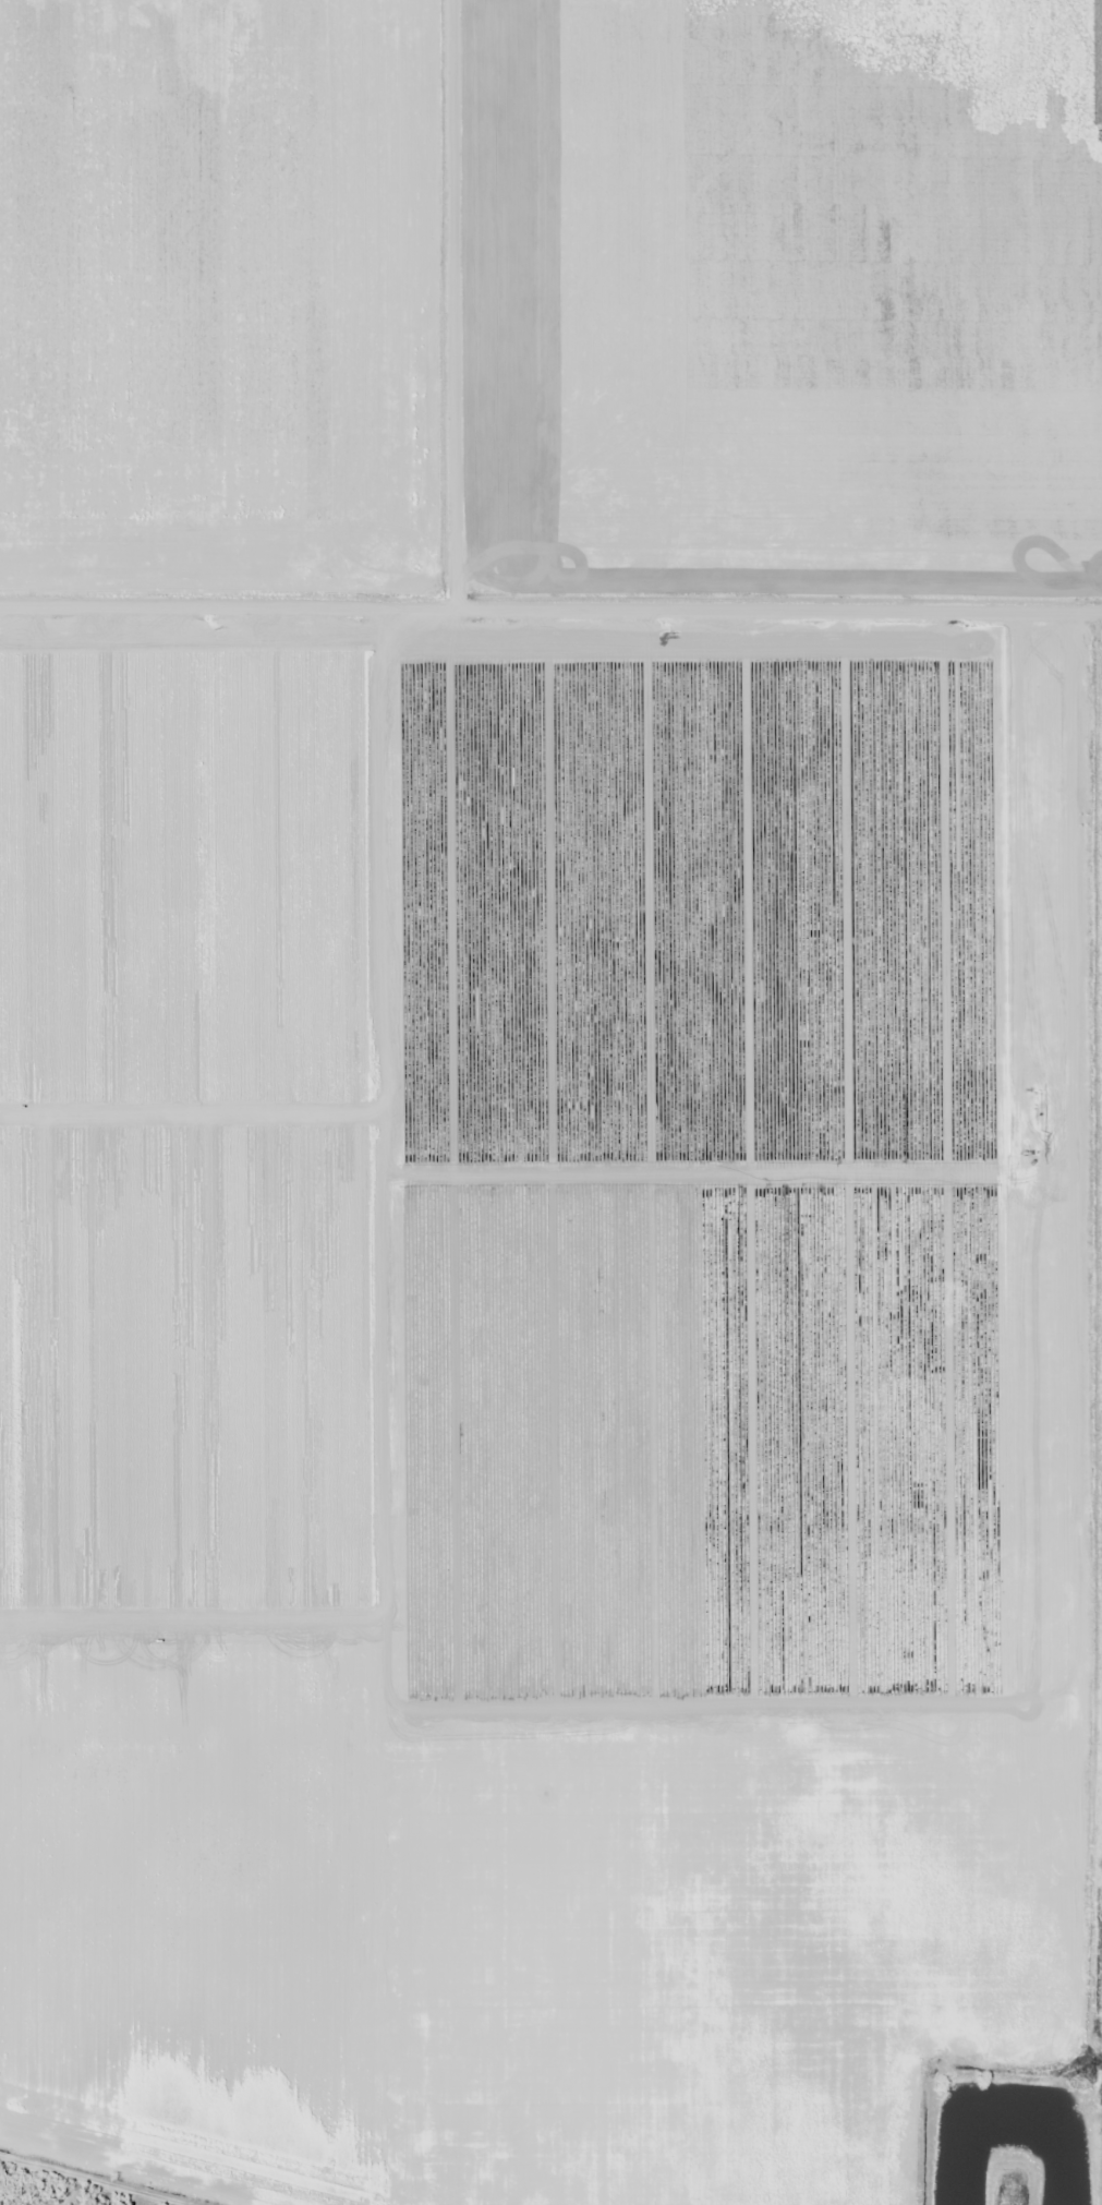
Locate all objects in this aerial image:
road: (147, 2168)

